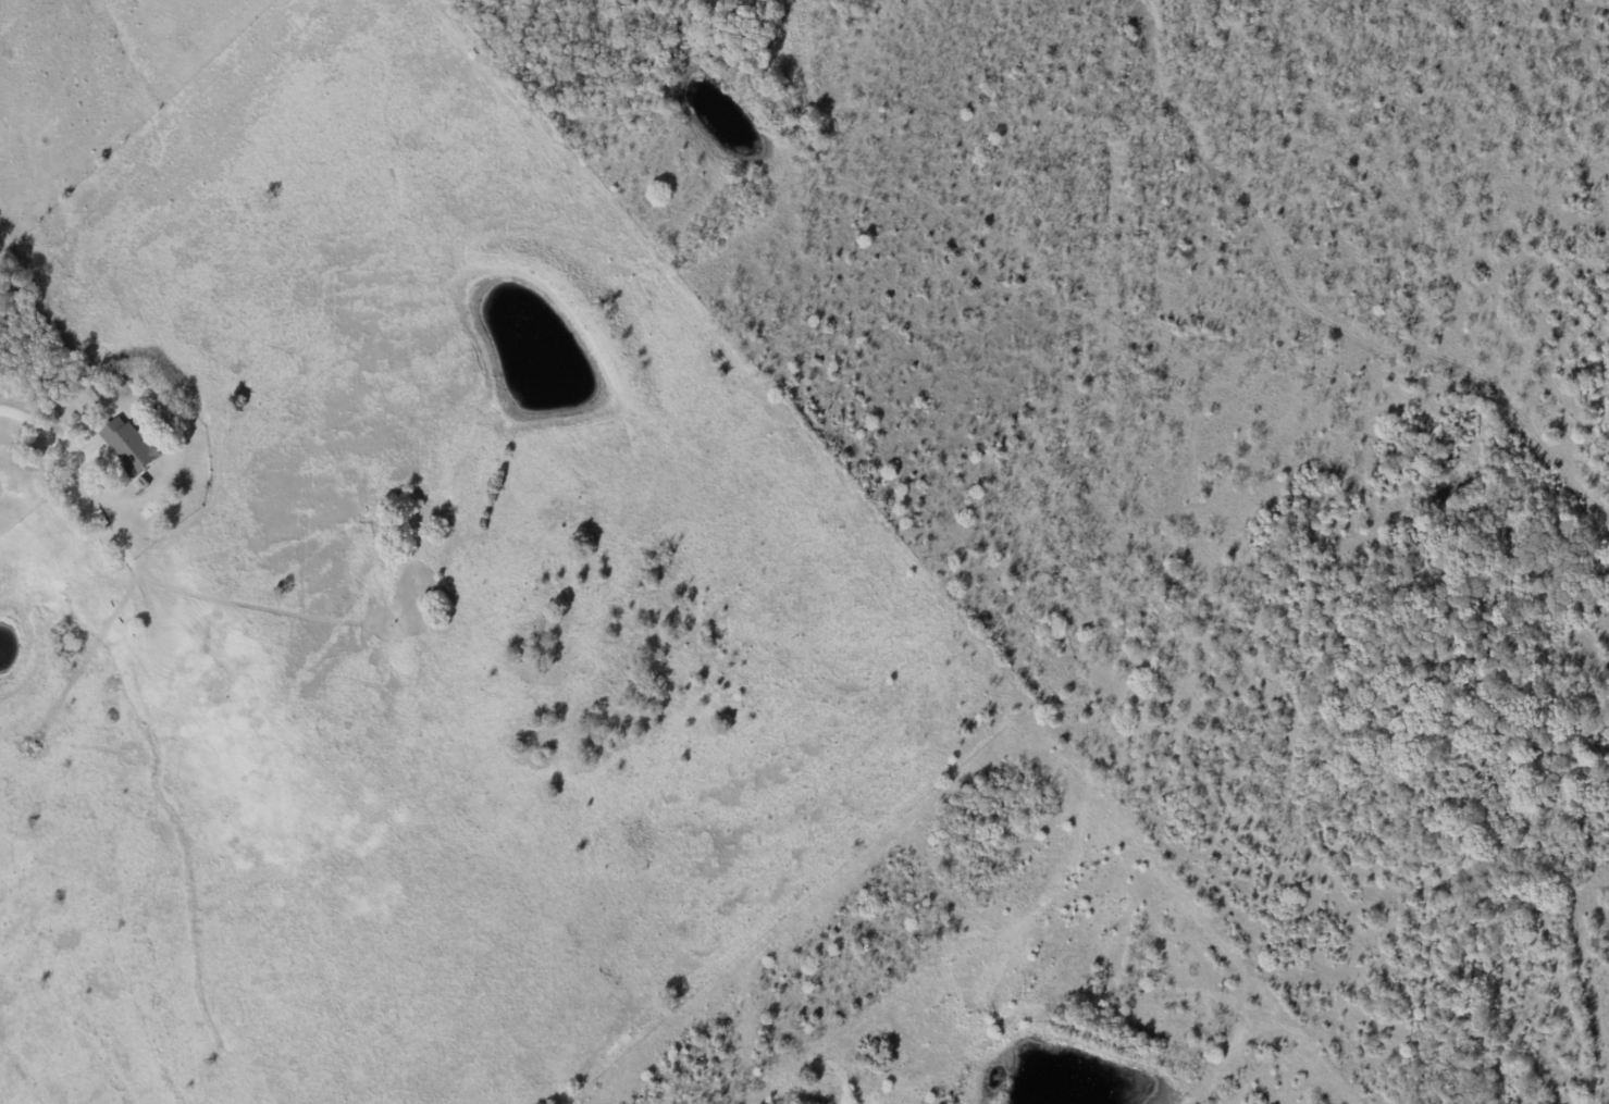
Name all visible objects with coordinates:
building: (124, 445)
road: (74, 461)

